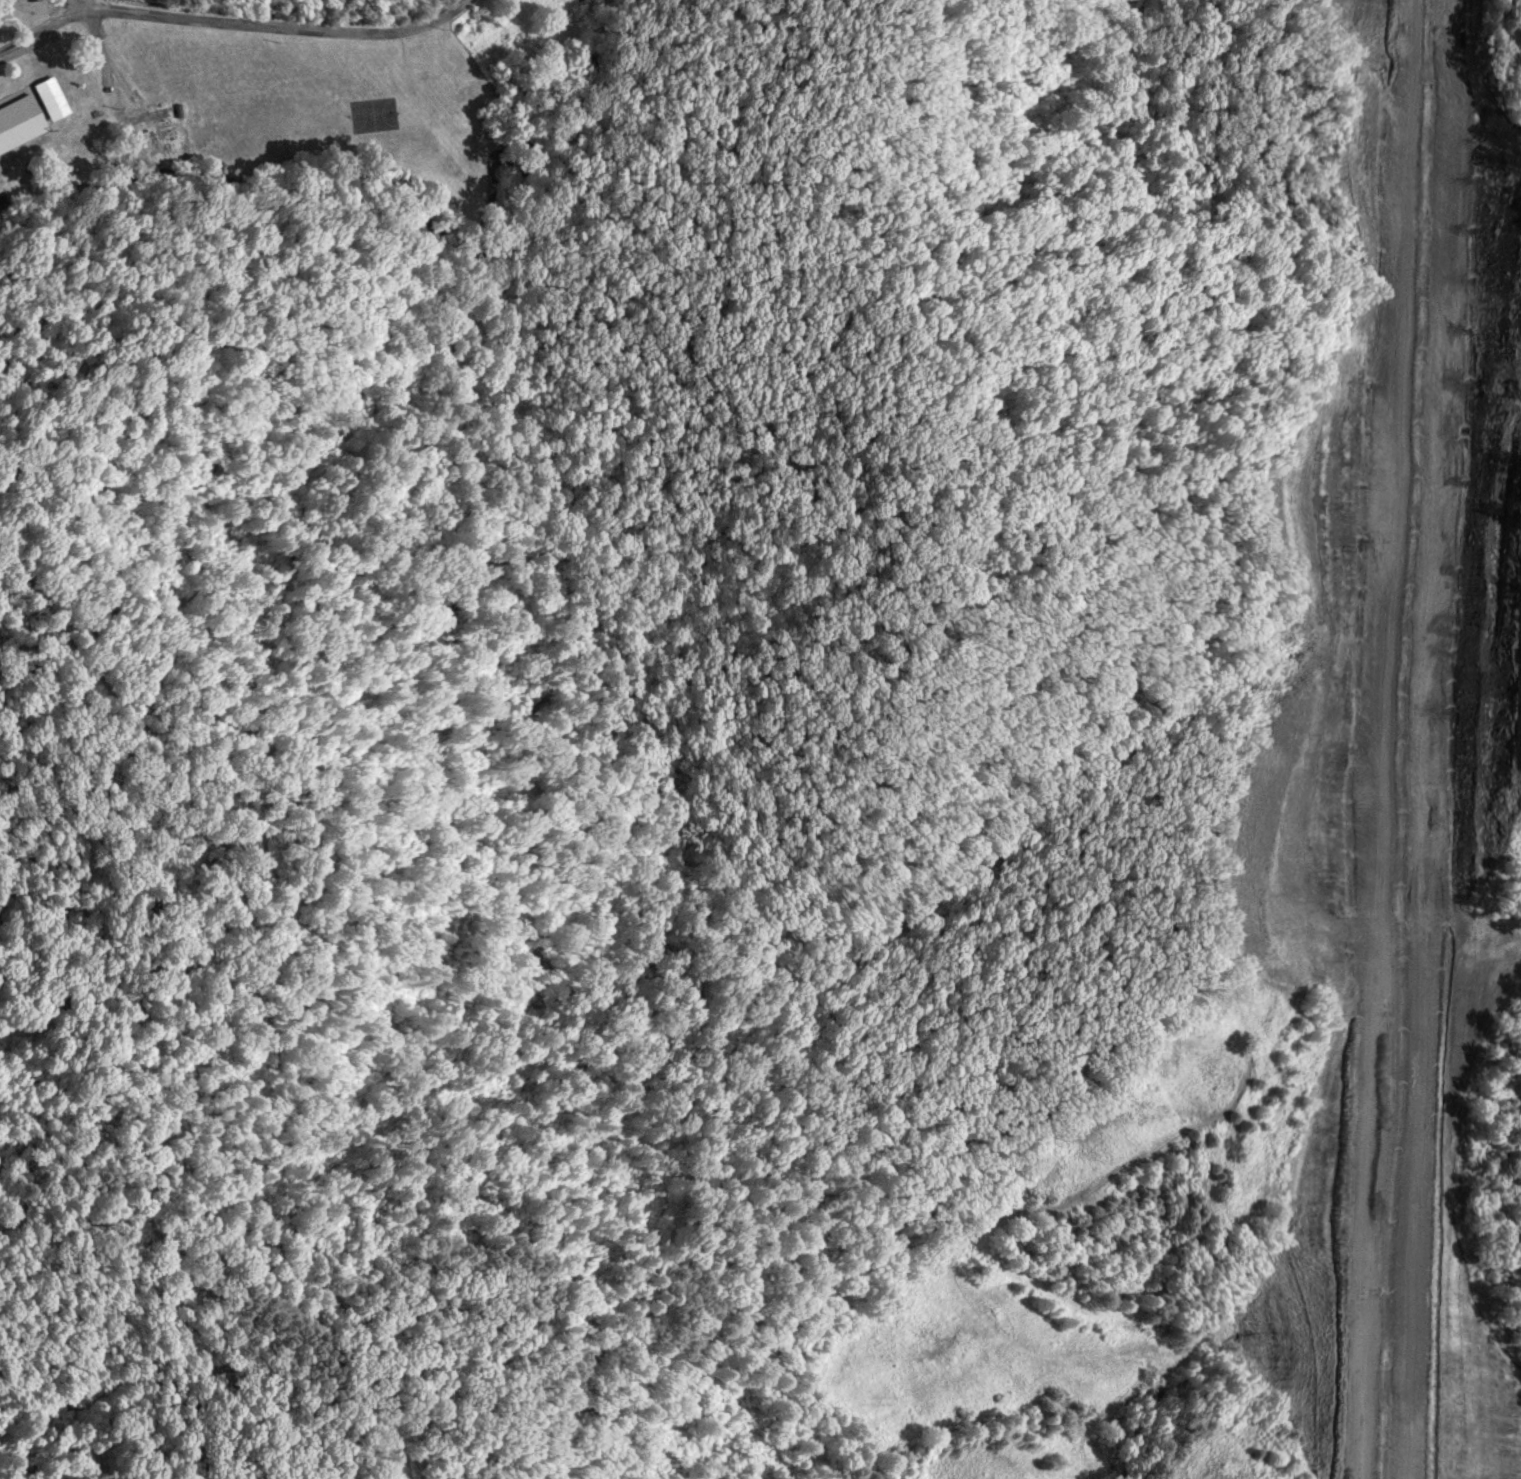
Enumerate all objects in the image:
road: (100, 9)
road: (230, 26)
building: (50, 99)
building: (20, 128)
road: (1382, 739)
road: (1434, 739)

